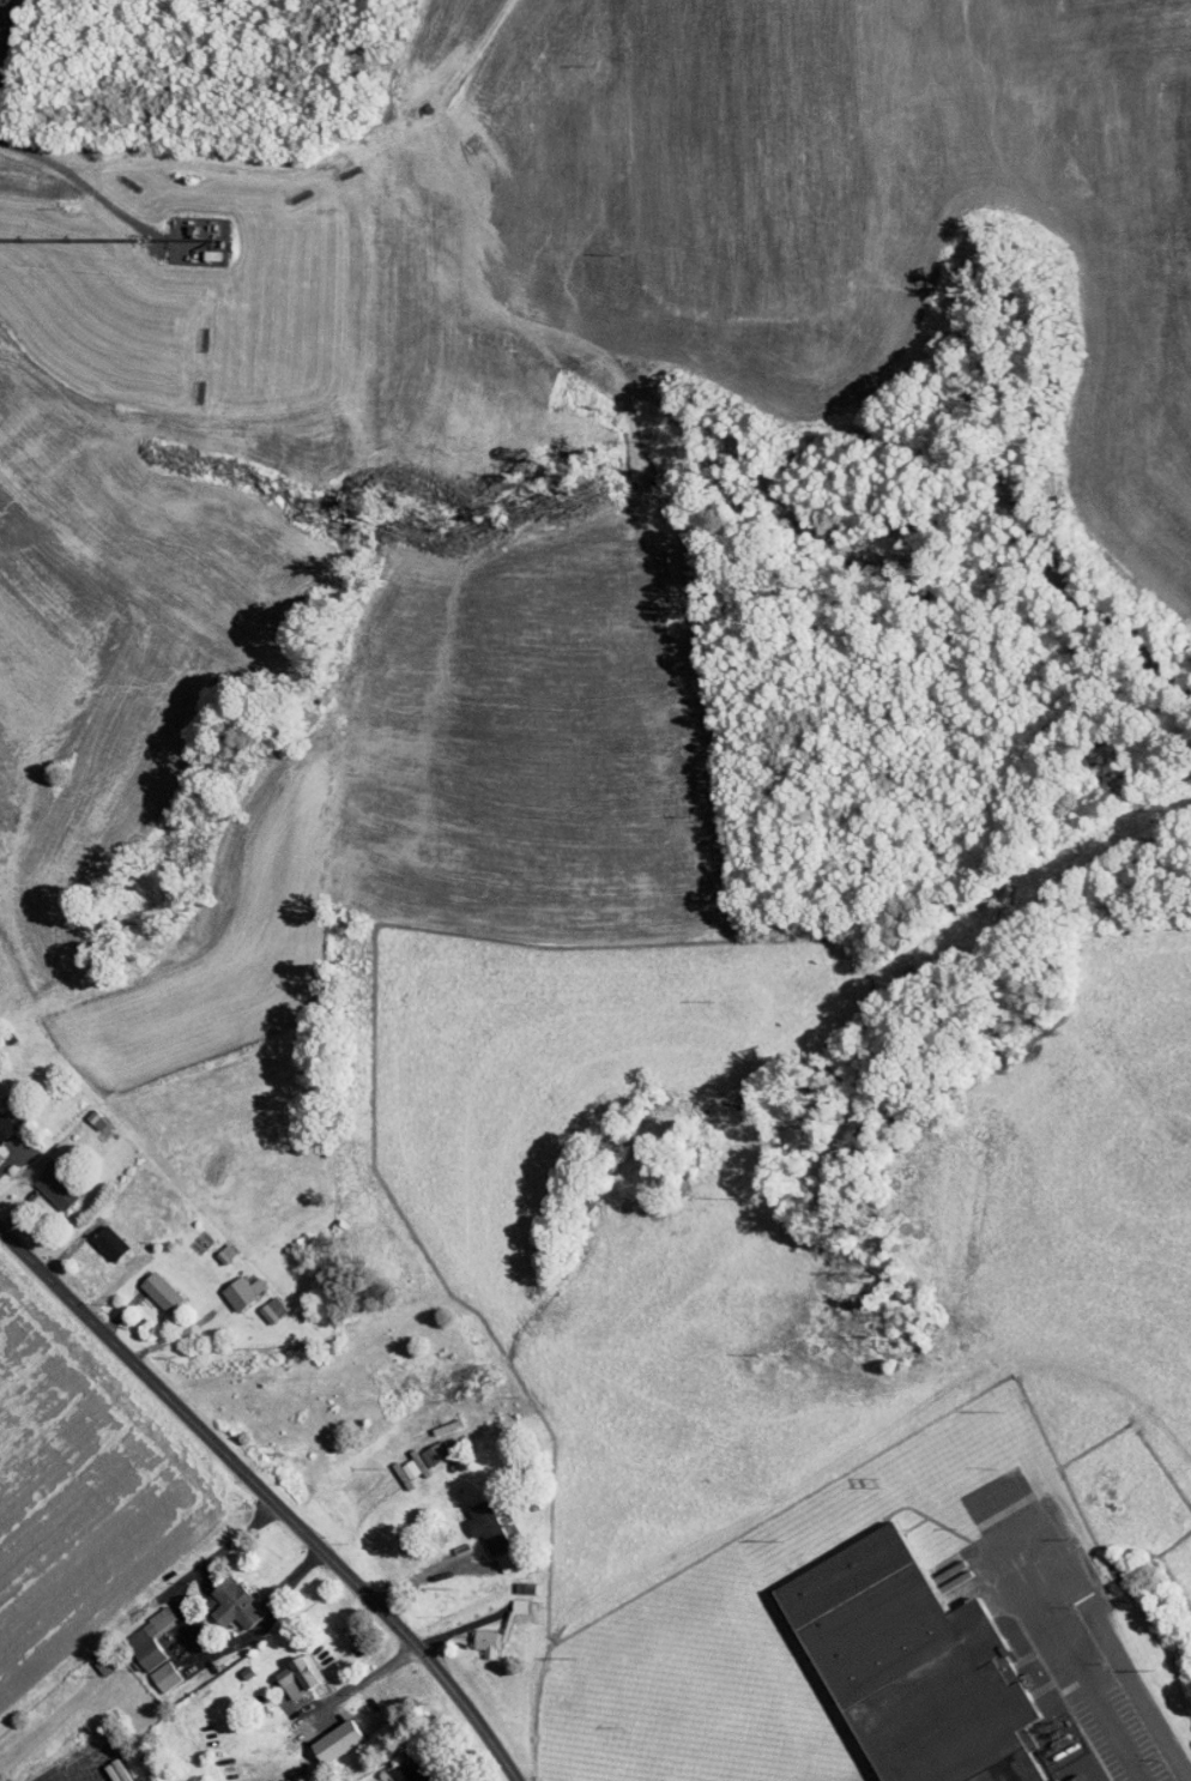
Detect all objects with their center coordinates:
road: (155, 62)
road: (121, 131)
building: (38, 1182)
building: (93, 1234)
building: (208, 1245)
building: (144, 1284)
building: (226, 1284)
building: (256, 1302)
road: (132, 1354)
building: (401, 1456)
building: (470, 1519)
building: (490, 1553)
building: (217, 1596)
building: (503, 1599)
road: (399, 1629)
building: (133, 1632)
building: (470, 1635)
building: (891, 1642)
road: (1113, 1649)
building: (282, 1668)
building: (150, 1670)
building: (319, 1734)
building: (392, 1767)
building: (89, 1770)

